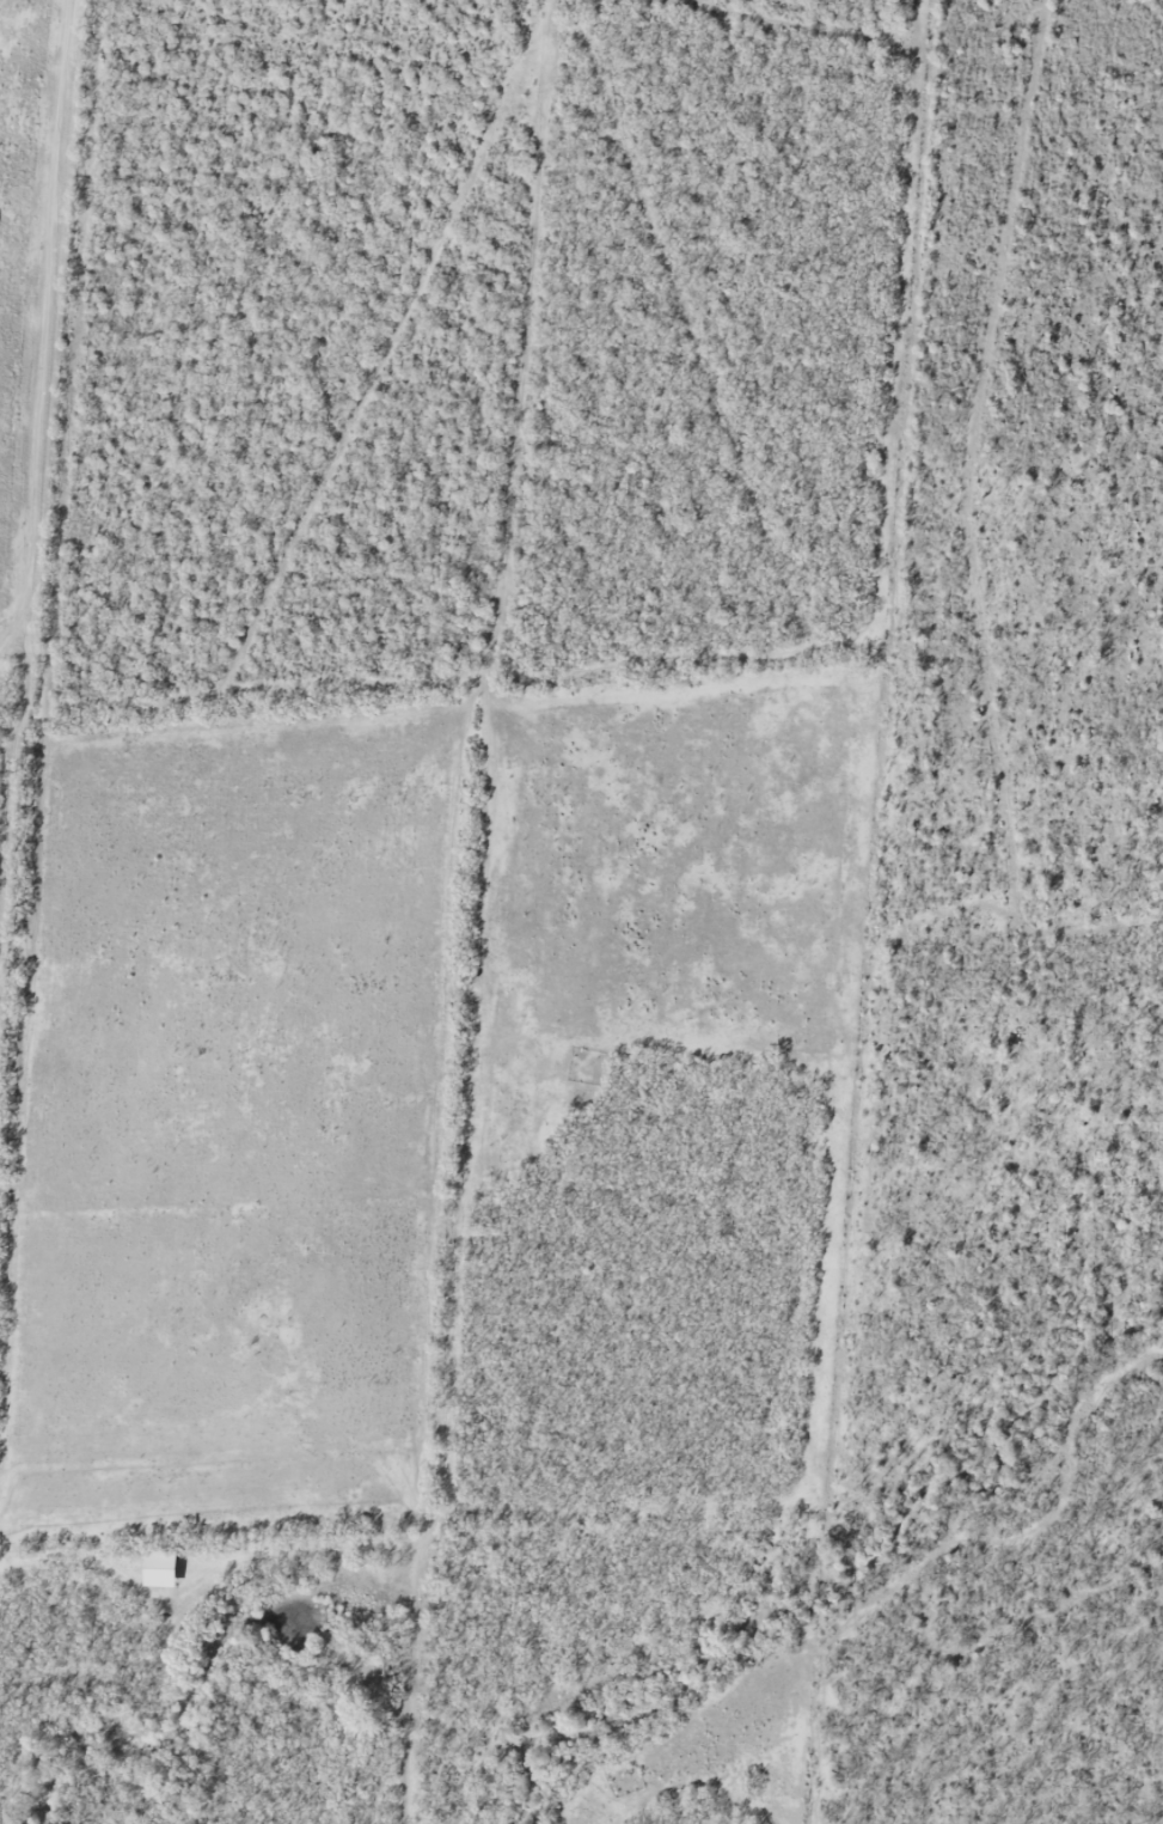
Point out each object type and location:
road: (39, 307)
building: (158, 1569)

